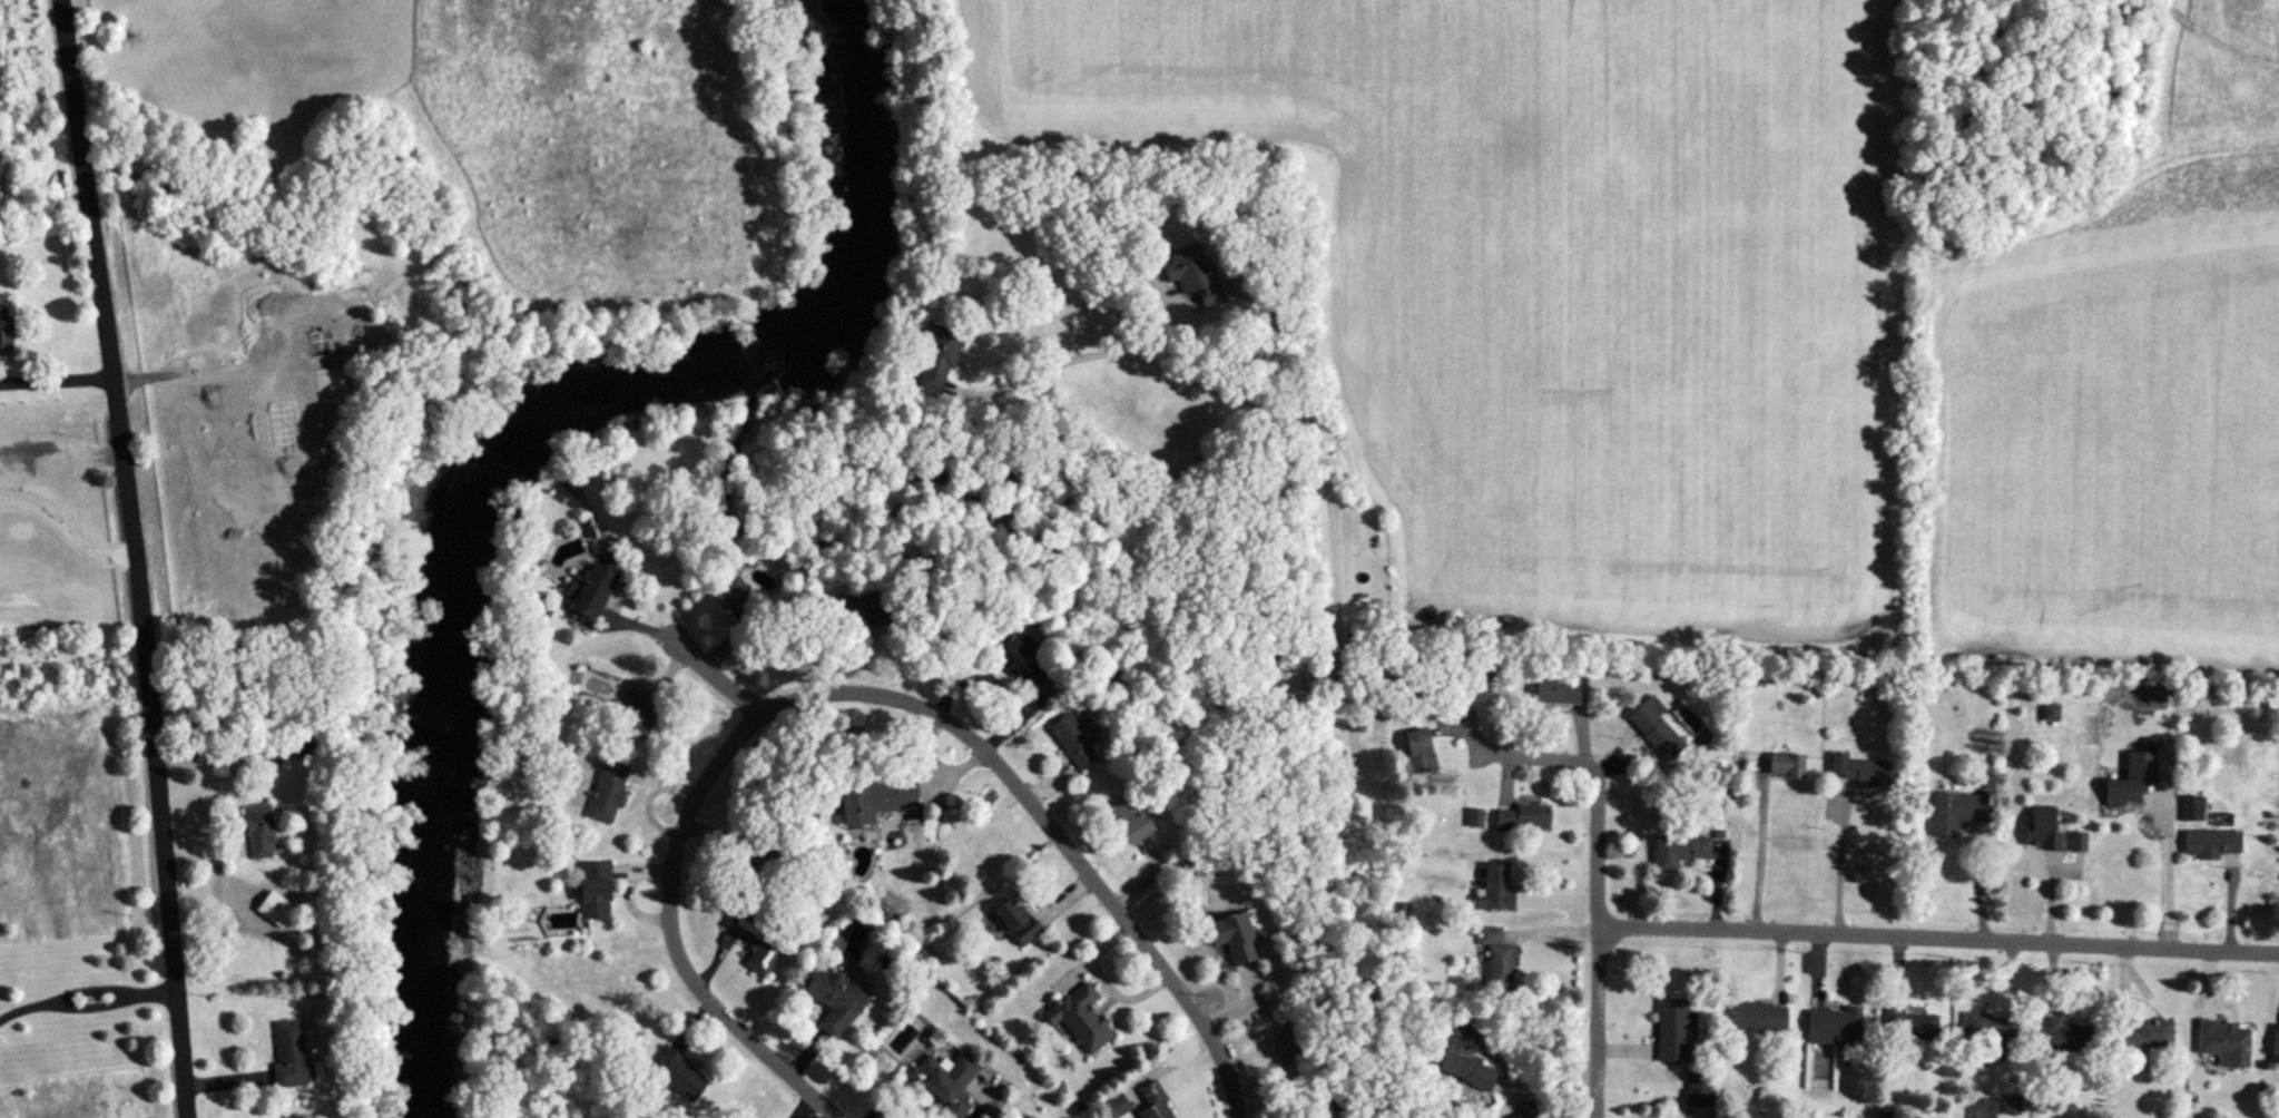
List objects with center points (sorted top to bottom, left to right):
park: (1590, 256)
building: (2, 328)
building: (937, 356)
road: (56, 359)
road: (1020, 381)
river: (507, 448)
road: (68, 529)
road: (139, 557)
building: (588, 591)
building: (736, 596)
road: (1332, 600)
building: (858, 612)
building: (1014, 659)
building: (1286, 685)
building: (1560, 687)
building: (2051, 713)
building: (637, 715)
building: (1656, 727)
building: (1072, 744)
building: (294, 747)
building: (1418, 752)
building: (1787, 766)
building: (1858, 769)
building: (2131, 782)
road: (1019, 784)
building: (608, 792)
building: (874, 801)
building: (2193, 810)
building: (1955, 813)
building: (1127, 817)
building: (1524, 820)
building: (2043, 831)
building: (255, 833)
building: (2079, 843)
building: (2212, 844)
road: (1751, 845)
building: (1680, 852)
road: (2160, 855)
road: (1834, 863)
road: (1592, 879)
building: (1495, 890)
building: (592, 892)
building: (1014, 923)
road: (1936, 933)
road: (676, 936)
building: (1235, 936)
building: (756, 944)
building: (1497, 957)
road: (87, 990)
building: (834, 1000)
building: (1759, 1017)
building: (1078, 1019)
building: (1910, 1027)
building: (1833, 1028)
building: (1672, 1031)
building: (1992, 1032)
building: (2063, 1036)
building: (2143, 1036)
building: (2223, 1045)
building: (2276, 1045)
building: (283, 1056)
building: (1464, 1058)
building: (678, 1076)
building: (944, 1082)
building: (1697, 1089)
building: (1152, 1102)
building: (1529, 1110)

